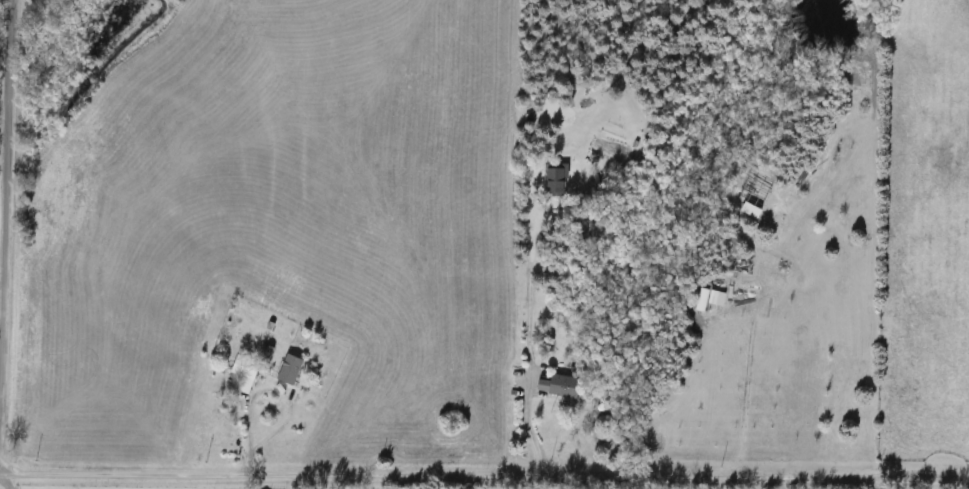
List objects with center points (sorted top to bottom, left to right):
road: (4, 158)
building: (290, 369)
building: (544, 372)
building: (245, 373)
building: (565, 386)
road: (266, 388)
road: (525, 424)
road: (483, 475)
road: (7, 481)

